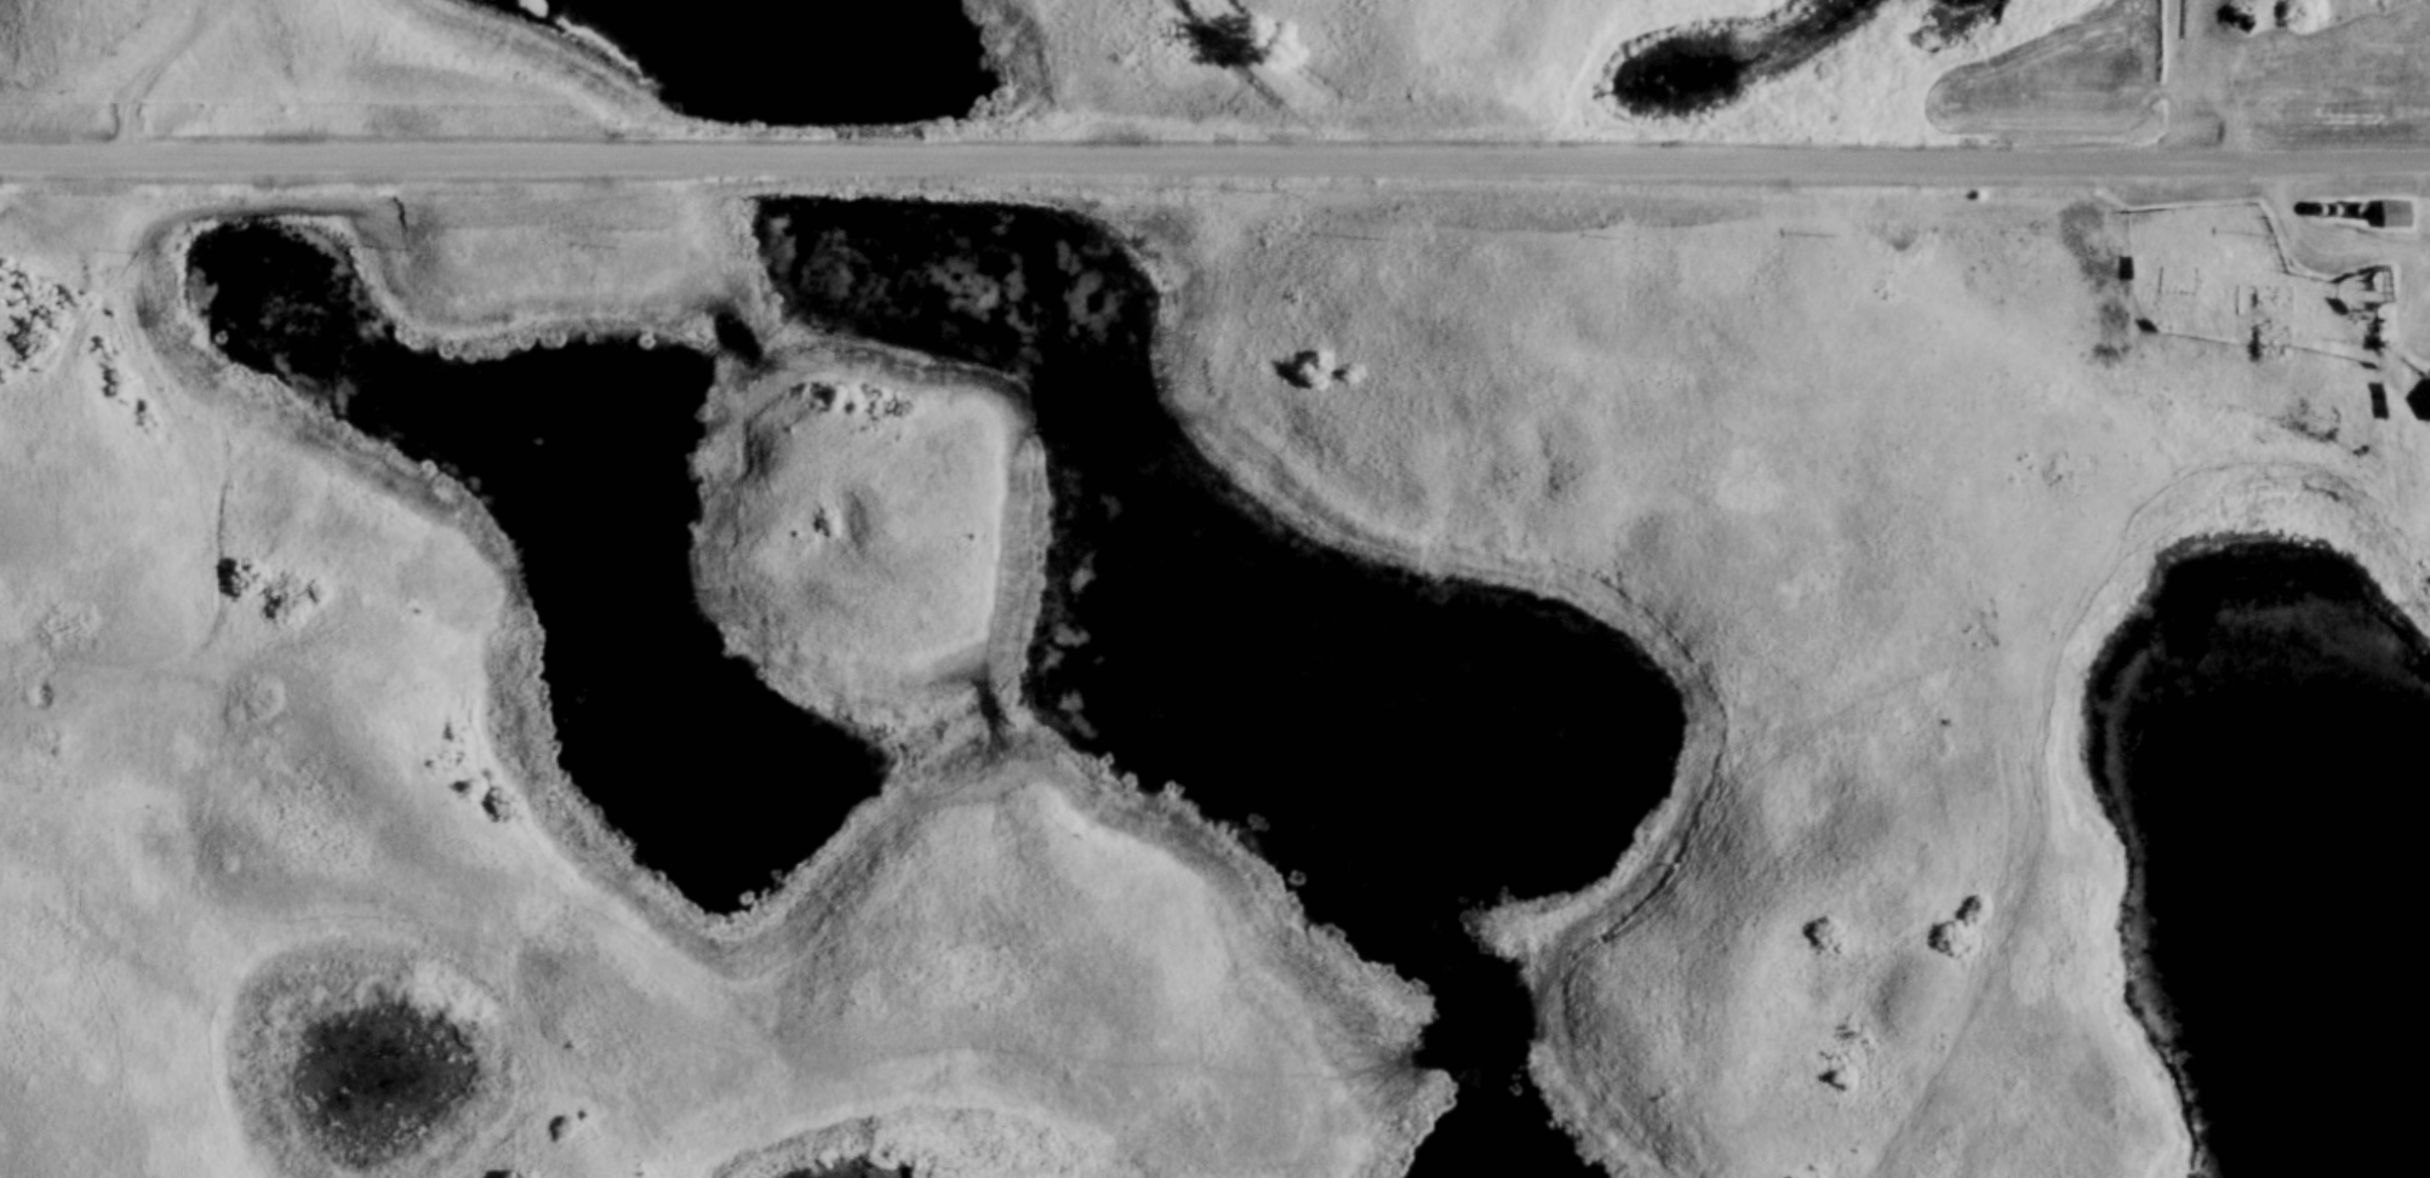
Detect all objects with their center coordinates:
road: (150, 69)
road: (1214, 154)
building: (2389, 221)

